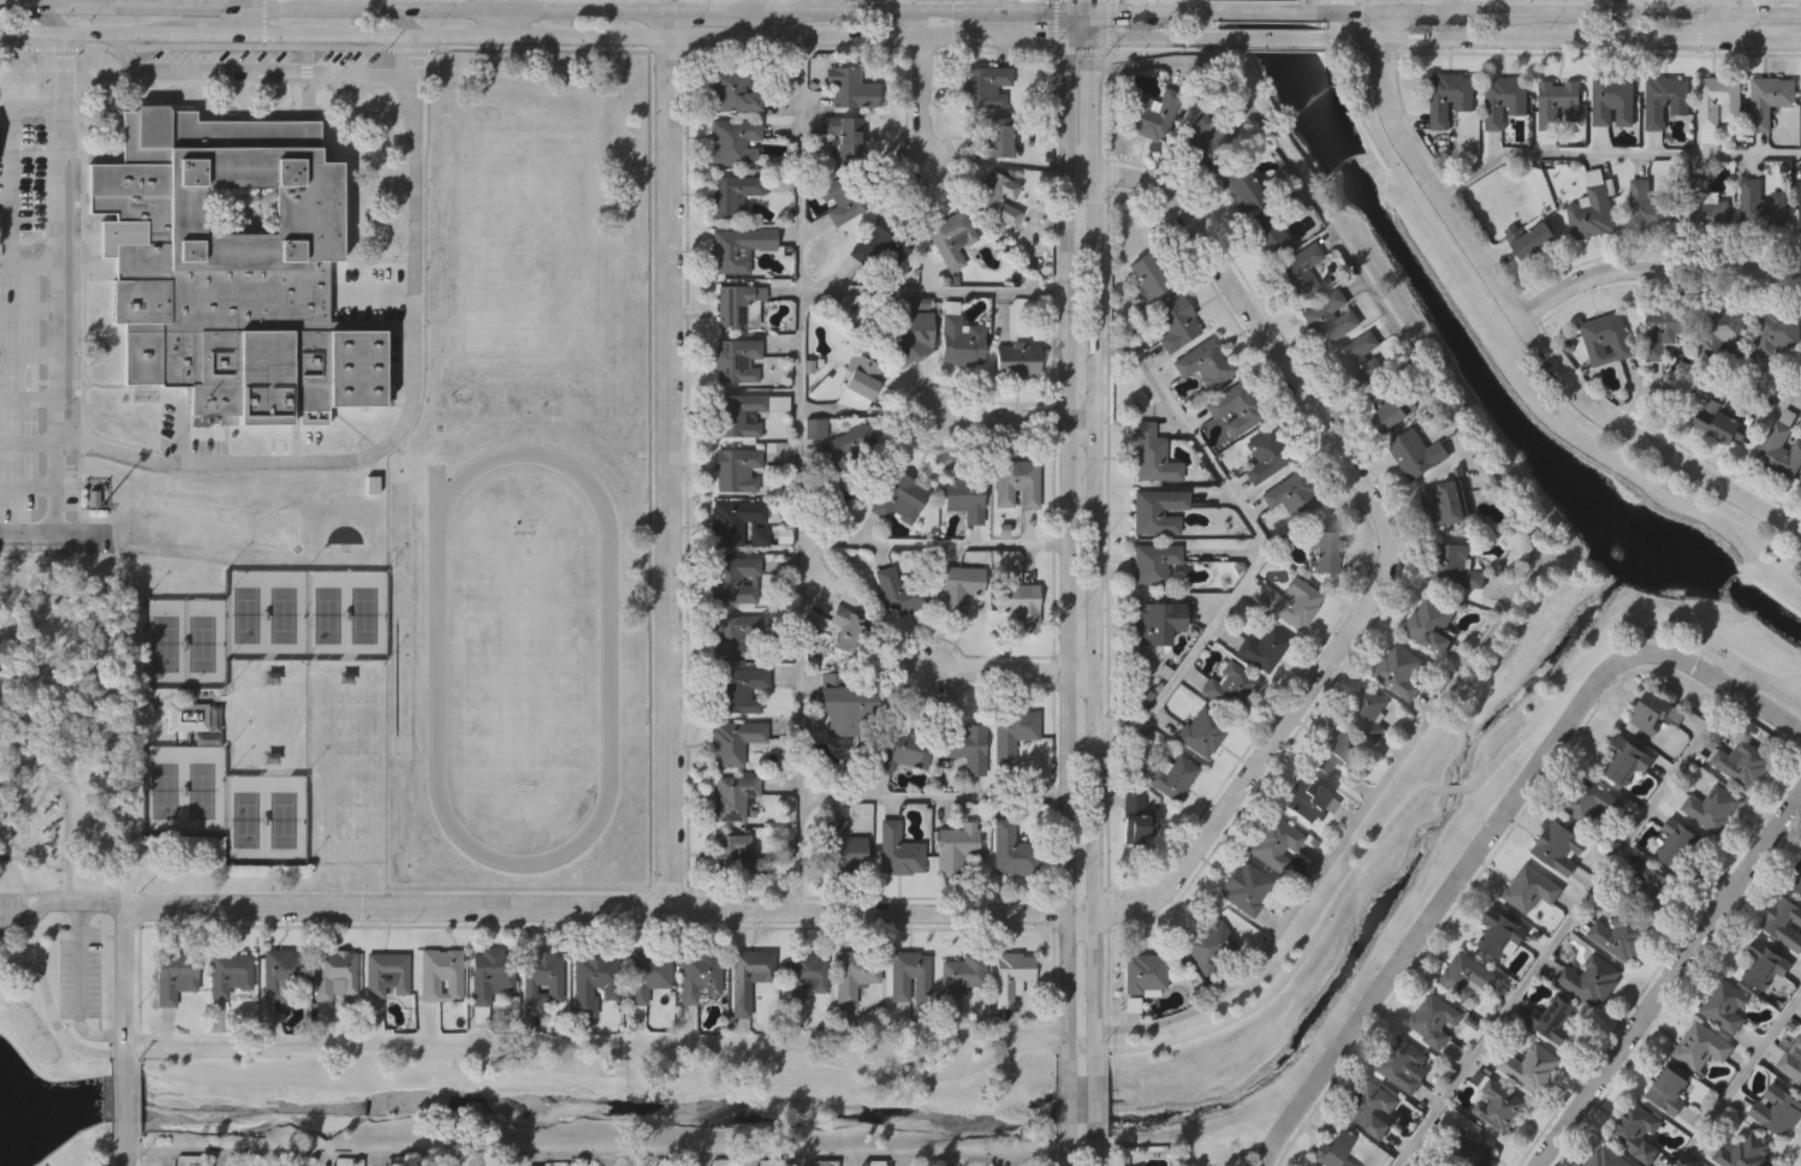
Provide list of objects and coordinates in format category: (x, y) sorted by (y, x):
road: (18, 4)
road: (139, 4)
road: (367, 5)
road: (642, 6)
road: (756, 6)
road: (822, 6)
road: (1068, 6)
road: (1093, 6)
road: (1359, 6)
road: (1012, 7)
road: (1455, 7)
road: (1617, 7)
road: (334, 8)
road: (703, 12)
road: (903, 13)
traffic signals: (1068, 13)
road: (1080, 13)
traffic signals: (1093, 13)
road: (1123, 13)
road: (1178, 13)
road: (1253, 13)
road: (1551, 14)
road: (252, 16)
road: (49, 17)
road: (504, 17)
road: (403, 18)
road: (1722, 19)
road: (670, 23)
road: (1092, 24)
road: (922, 25)
road: (1068, 25)
road: (91, 31)
road: (219, 31)
road: (430, 34)
road: (638, 35)
road: (795, 36)
road: (1080, 36)
traffic signals: (1092, 36)
road: (1155, 36)
road: (994, 37)
traffic signals: (1068, 37)
road: (1268, 37)
road: (1472, 38)
road: (1672, 40)
road: (1761, 40)
road: (250, 72)
road: (55, 81)
building: (983, 88)
building: (851, 89)
building: (732, 91)
building: (1450, 99)
building: (1770, 101)
road: (922, 102)
building: (1504, 102)
building: (1665, 102)
road: (1092, 103)
building: (1612, 103)
building: (1718, 103)
building: (1558, 105)
building: (1154, 117)
building: (994, 137)
building: (840, 139)
building: (1196, 141)
building: (733, 142)
road: (1615, 154)
road: (10, 163)
road: (1081, 172)
building: (731, 195)
building: (844, 197)
building: (995, 197)
building: (1800, 207)
building: (1702, 208)
building: (1760, 208)
building: (1648, 209)
building: (1254, 214)
building: (1592, 215)
building: (950, 239)
building: (880, 242)
building: (1532, 243)
park: (533, 246)
building: (737, 249)
road: (28, 267)
building: (228, 268)
road: (1656, 269)
building: (1298, 274)
building: (1146, 276)
road: (935, 291)
building: (737, 307)
road: (28, 311)
building: (1330, 320)
road: (1526, 322)
building: (1175, 326)
building: (1665, 331)
building: (1778, 333)
building: (1724, 334)
building: (913, 335)
road: (1505, 339)
building: (1606, 341)
building: (959, 343)
road: (28, 356)
building: (1360, 361)
parking lot: (30, 362)
building: (737, 362)
building: (1015, 362)
building: (1205, 364)
building: (860, 383)
road: (1702, 387)
road: (28, 399)
building: (1390, 409)
building: (1234, 410)
building: (741, 416)
road: (1010, 417)
building: (1718, 423)
building: (815, 427)
road: (28, 441)
building: (846, 444)
building: (1781, 452)
building: (1416, 456)
building: (1152, 457)
building: (1265, 457)
road: (275, 460)
road: (670, 470)
building: (737, 471)
road: (802, 474)
building: (1016, 484)
road: (28, 487)
building: (1800, 487)
building: (898, 498)
building: (963, 498)
building: (1292, 498)
building: (1443, 507)
road: (55, 512)
building: (1157, 512)
building: (738, 524)
road: (1535, 537)
road: (1265, 542)
road: (1389, 542)
road: (1069, 546)
road: (935, 547)
building: (1324, 552)
building: (1153, 565)
road: (1772, 567)
building: (1454, 569)
building: (735, 581)
road: (8, 587)
building: (958, 587)
building: (899, 593)
building: (1291, 603)
building: (1017, 606)
park: (304, 611)
road: (1093, 614)
building: (1152, 624)
building: (1429, 627)
building: (850, 633)
building: (731, 635)
park: (184, 644)
building: (1264, 649)
park: (522, 654)
track: (607, 659)
road: (1012, 670)
building: (1398, 673)
road: (55, 678)
road: (96, 683)
building: (1230, 685)
road: (1725, 686)
building: (738, 692)
building: (849, 712)
building: (1367, 712)
building: (189, 716)
building: (1658, 724)
building: (1011, 733)
building: (1202, 733)
building: (733, 743)
building: (967, 749)
building: (902, 752)
building: (1330, 752)
building: (1624, 762)
building: (1741, 765)
building: (1177, 779)
road: (136, 781)
park: (167, 783)
park: (184, 790)
building: (732, 797)
road: (935, 797)
building: (1588, 803)
building: (1712, 809)
park: (264, 816)
building: (1134, 820)
building: (1274, 845)
building: (1678, 847)
building: (840, 849)
building: (953, 849)
building: (1009, 849)
building: (1558, 849)
building: (898, 851)
building: (736, 858)
building: (1795, 881)
building: (1244, 890)
building: (1651, 890)
building: (1530, 891)
road: (34, 892)
road: (1445, 899)
road: (61, 904)
road: (610, 906)
parking lot: (12, 916)
building: (1784, 924)
road: (1565, 928)
building: (1622, 936)
building: (1499, 938)
building: (1208, 942)
building: (1764, 966)
parking lot: (81, 969)
building: (284, 971)
building: (750, 971)
building: (335, 972)
building: (1145, 974)
building: (231, 975)
building: (648, 975)
building: (855, 975)
building: (176, 976)
building: (387, 976)
building: (441, 976)
building: (700, 976)
building: (807, 976)
building: (962, 976)
building: (1011, 976)
building: (911, 977)
building: (489, 978)
road: (1669, 978)
building: (1467, 980)
building: (541, 981)
building: (594, 981)
building: (1591, 981)
road: (81, 988)
building: (1726, 1007)
building: (1552, 1019)
building: (1434, 1021)
road: (126, 1035)
road: (598, 1041)
building: (1700, 1048)
building: (1791, 1061)
building: (1404, 1066)
road: (970, 1067)
building: (1530, 1067)
road: (1740, 1079)
building: (1668, 1093)
road: (1069, 1097)
road: (1093, 1097)
building: (1497, 1107)
road: (108, 1110)
building: (1369, 1110)
building: (1776, 1111)
building: (1636, 1134)
building: (1335, 1149)
road: (598, 1152)
road: (1069, 1152)
road: (1093, 1152)
building: (1742, 1152)
building: (1466, 1153)
building: (1606, 1159)

